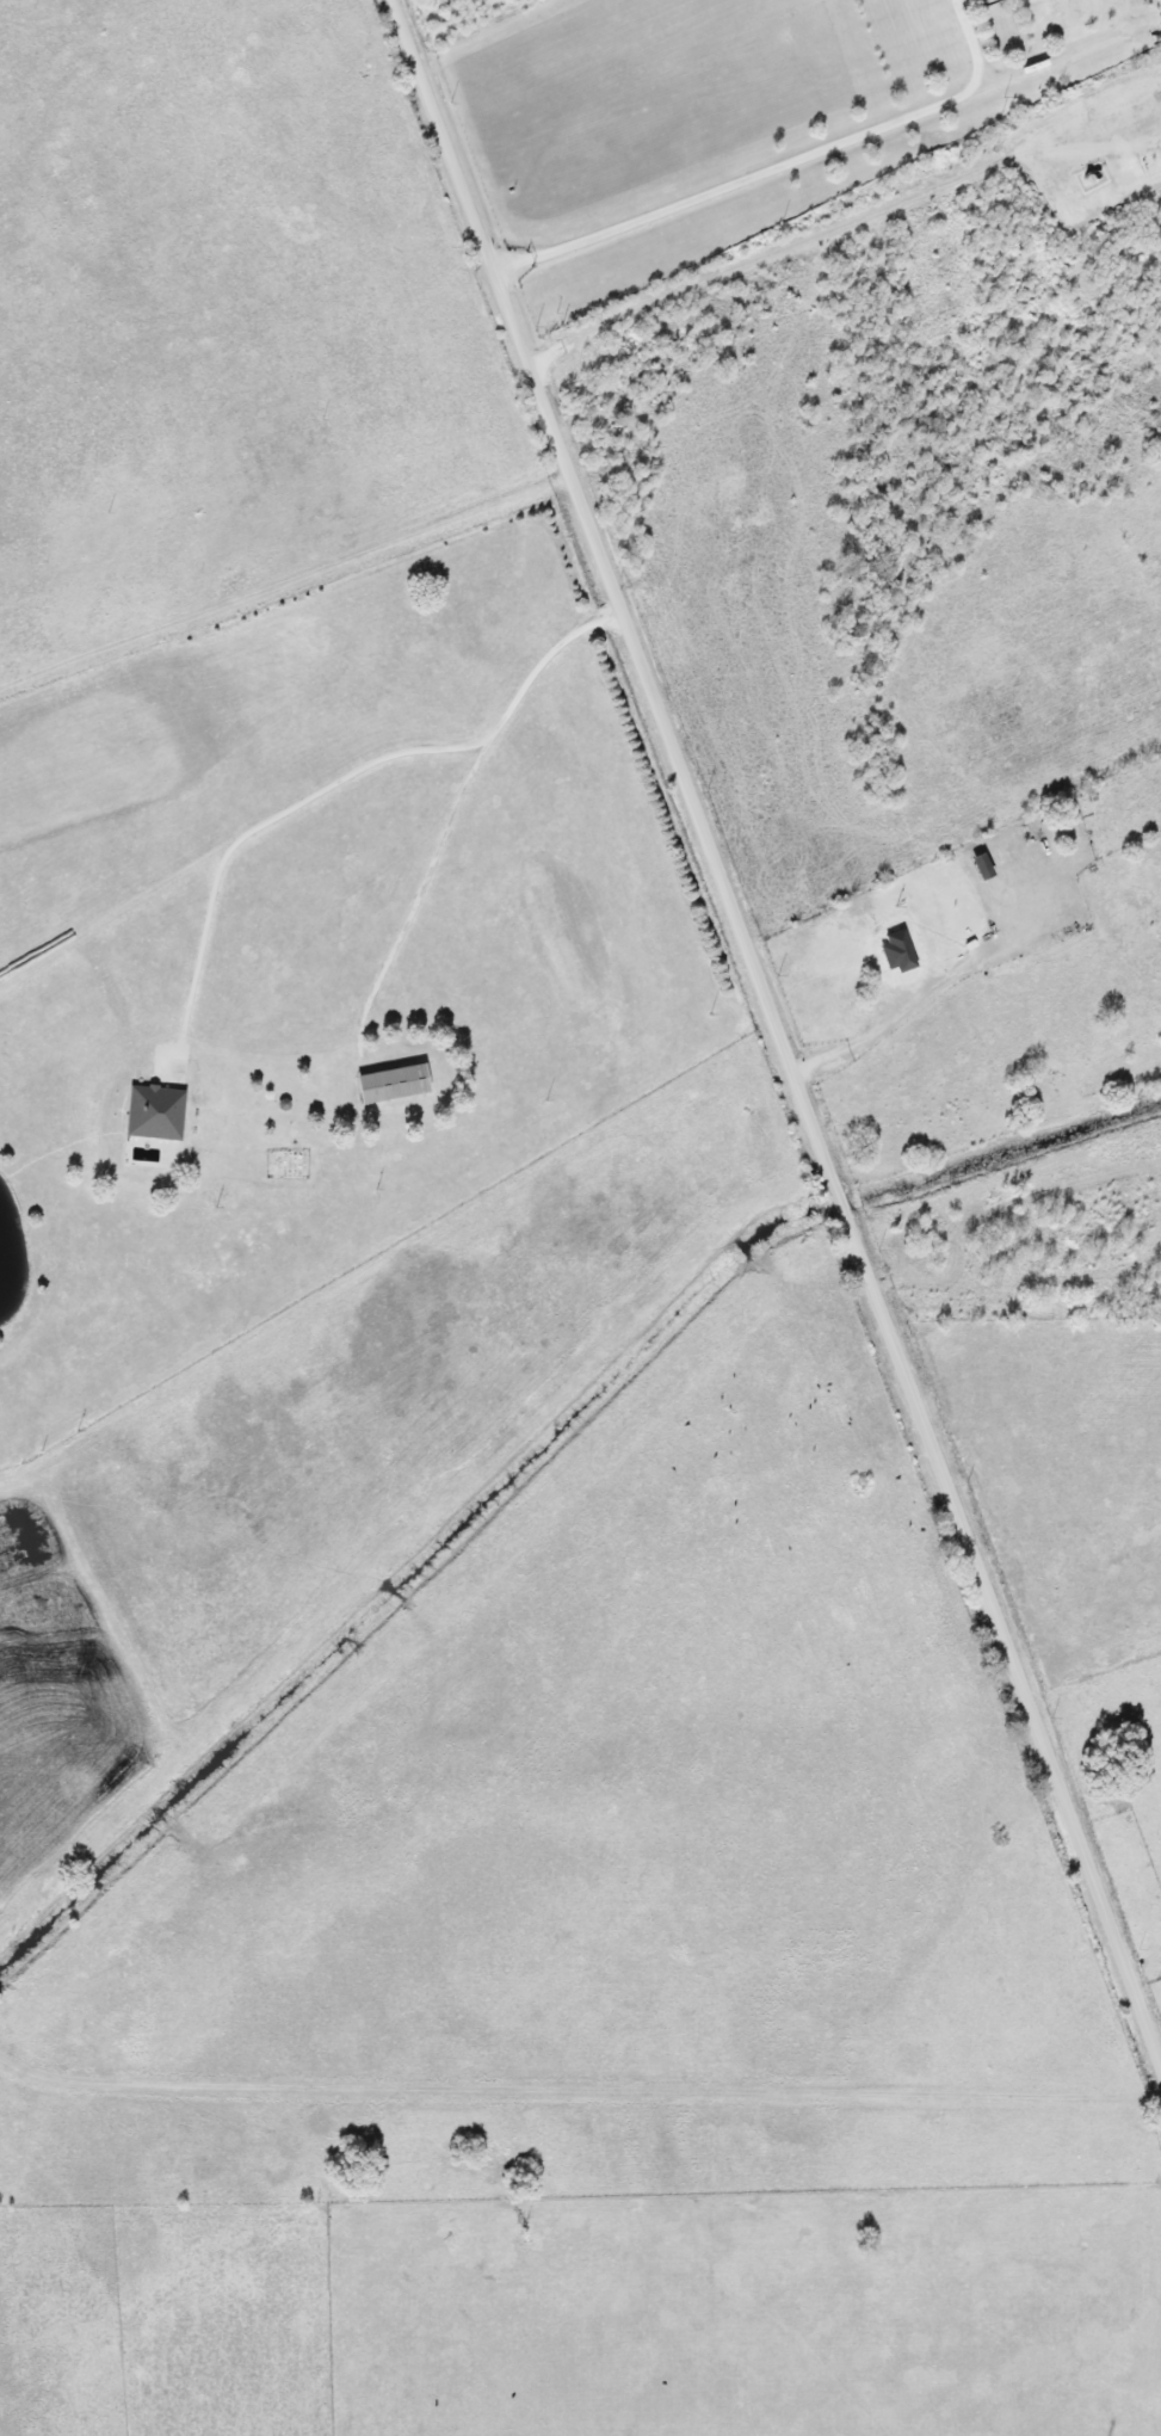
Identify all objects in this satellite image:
road: (766, 160)
road: (770, 254)
road: (329, 775)
building: (988, 841)
building: (887, 950)
road: (859, 1031)
road: (776, 1040)
building: (388, 1084)

